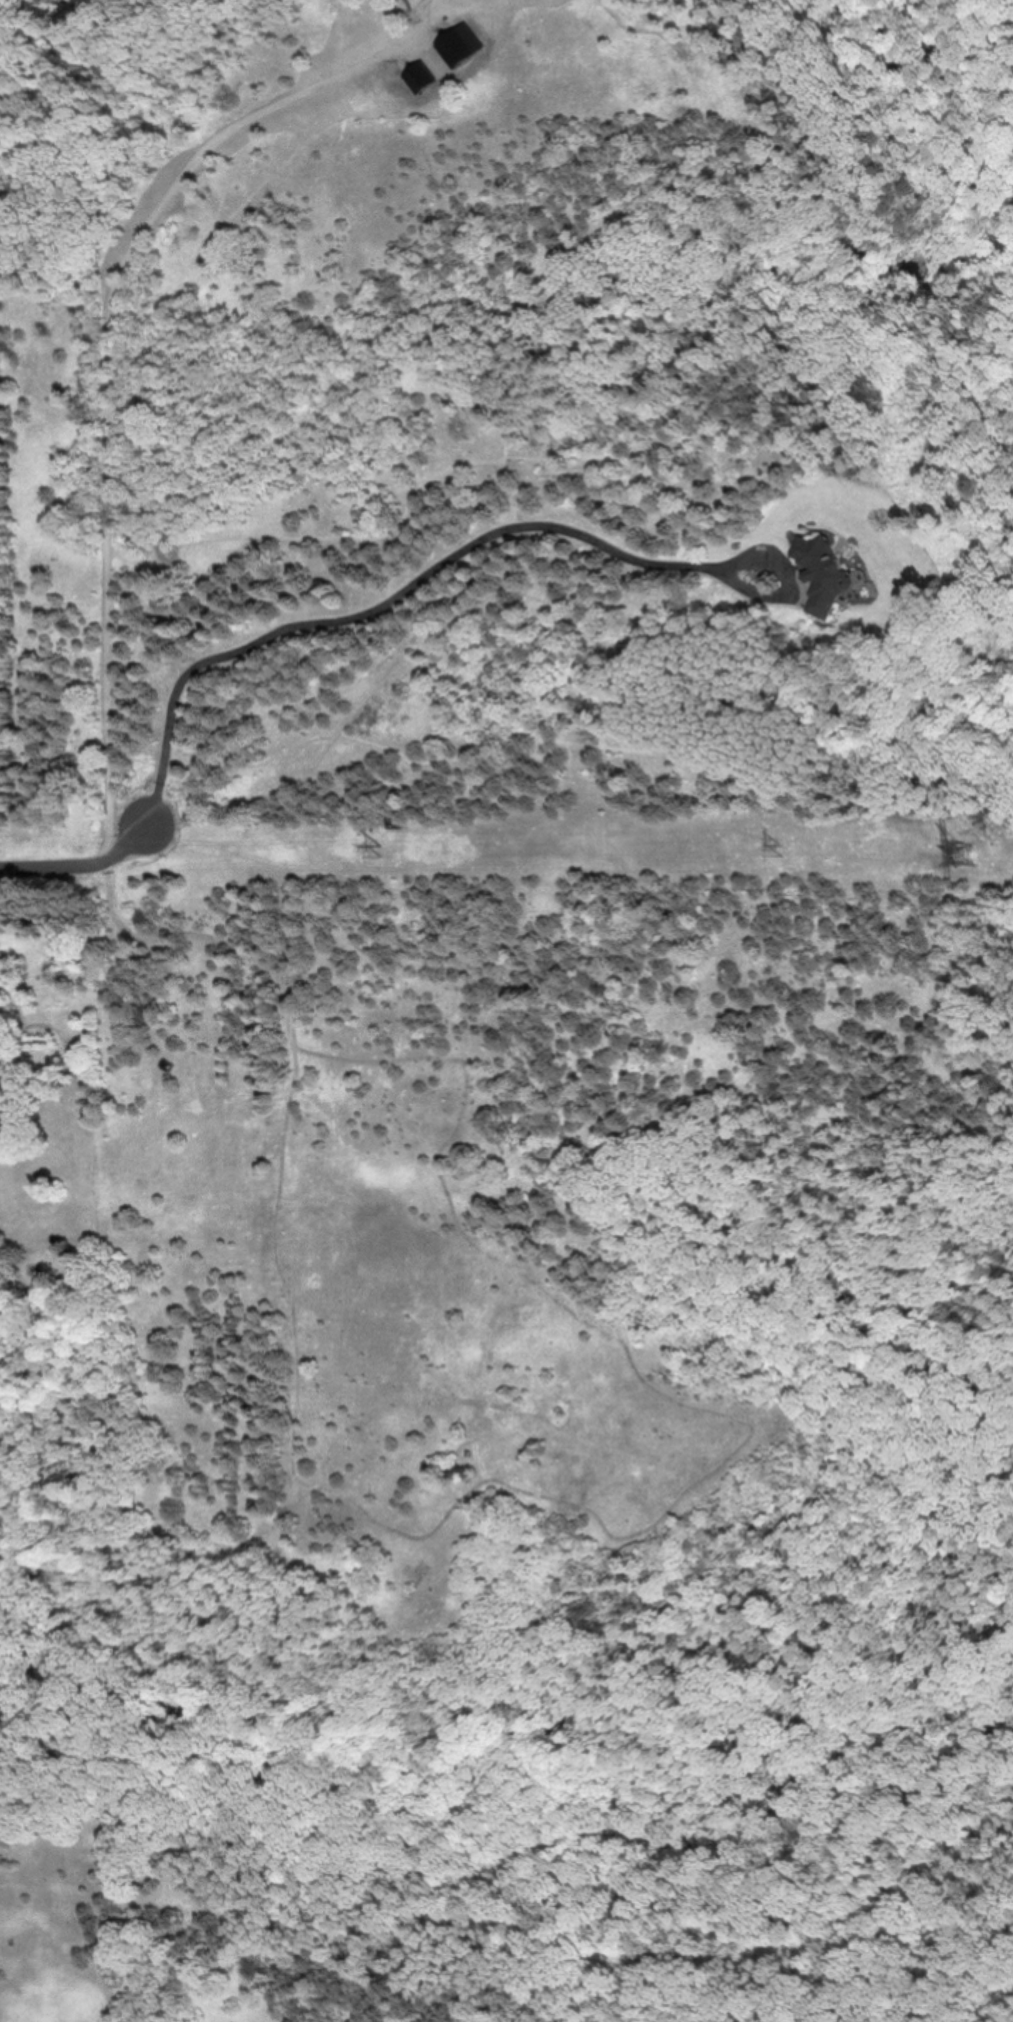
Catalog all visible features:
road: (107, 348)
building: (823, 575)
road: (418, 583)
power tower: (383, 850)
power tower: (784, 851)
power tower: (966, 855)
road: (81, 859)
building: (4, 1121)
building: (460, 1470)
building: (499, 1505)

